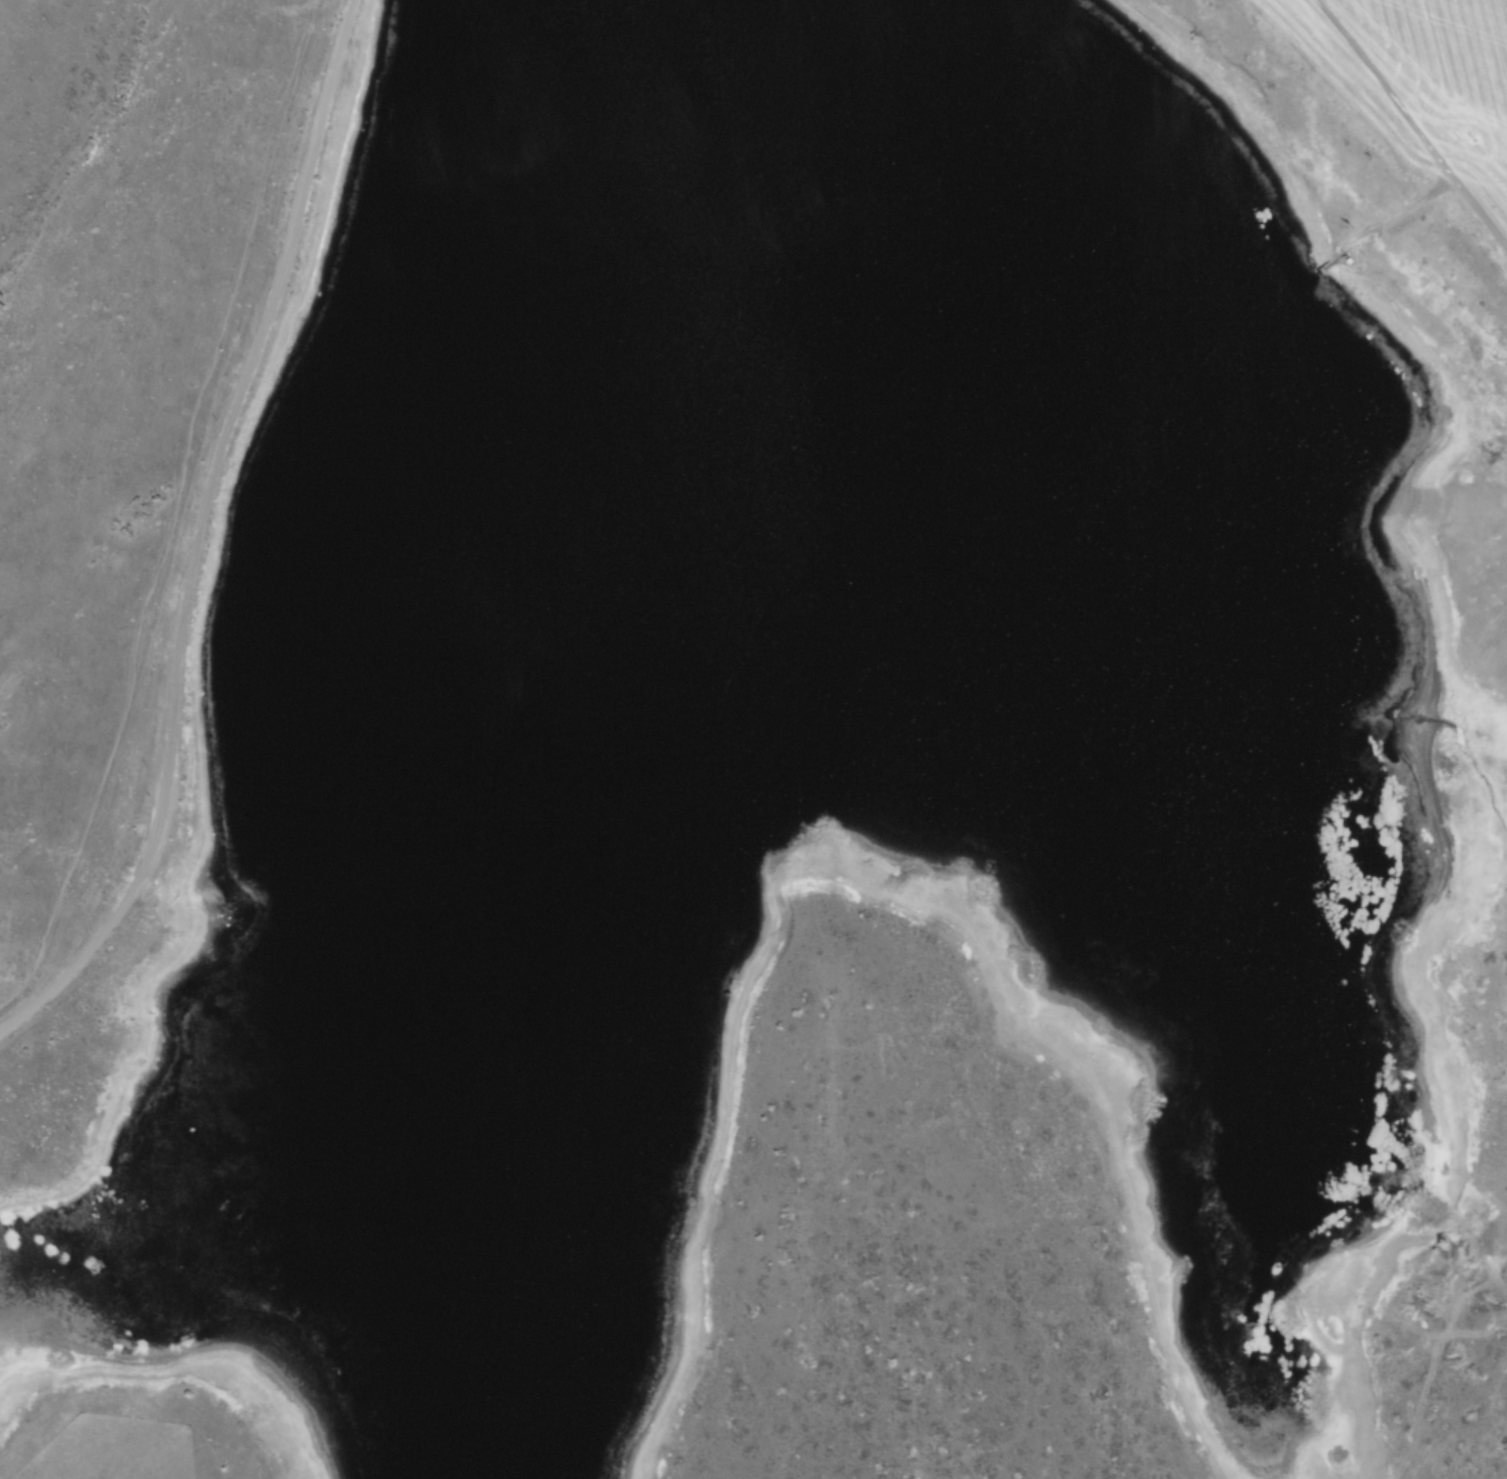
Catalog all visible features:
crop: (1437, 84)
road: (1416, 101)
road: (182, 537)

